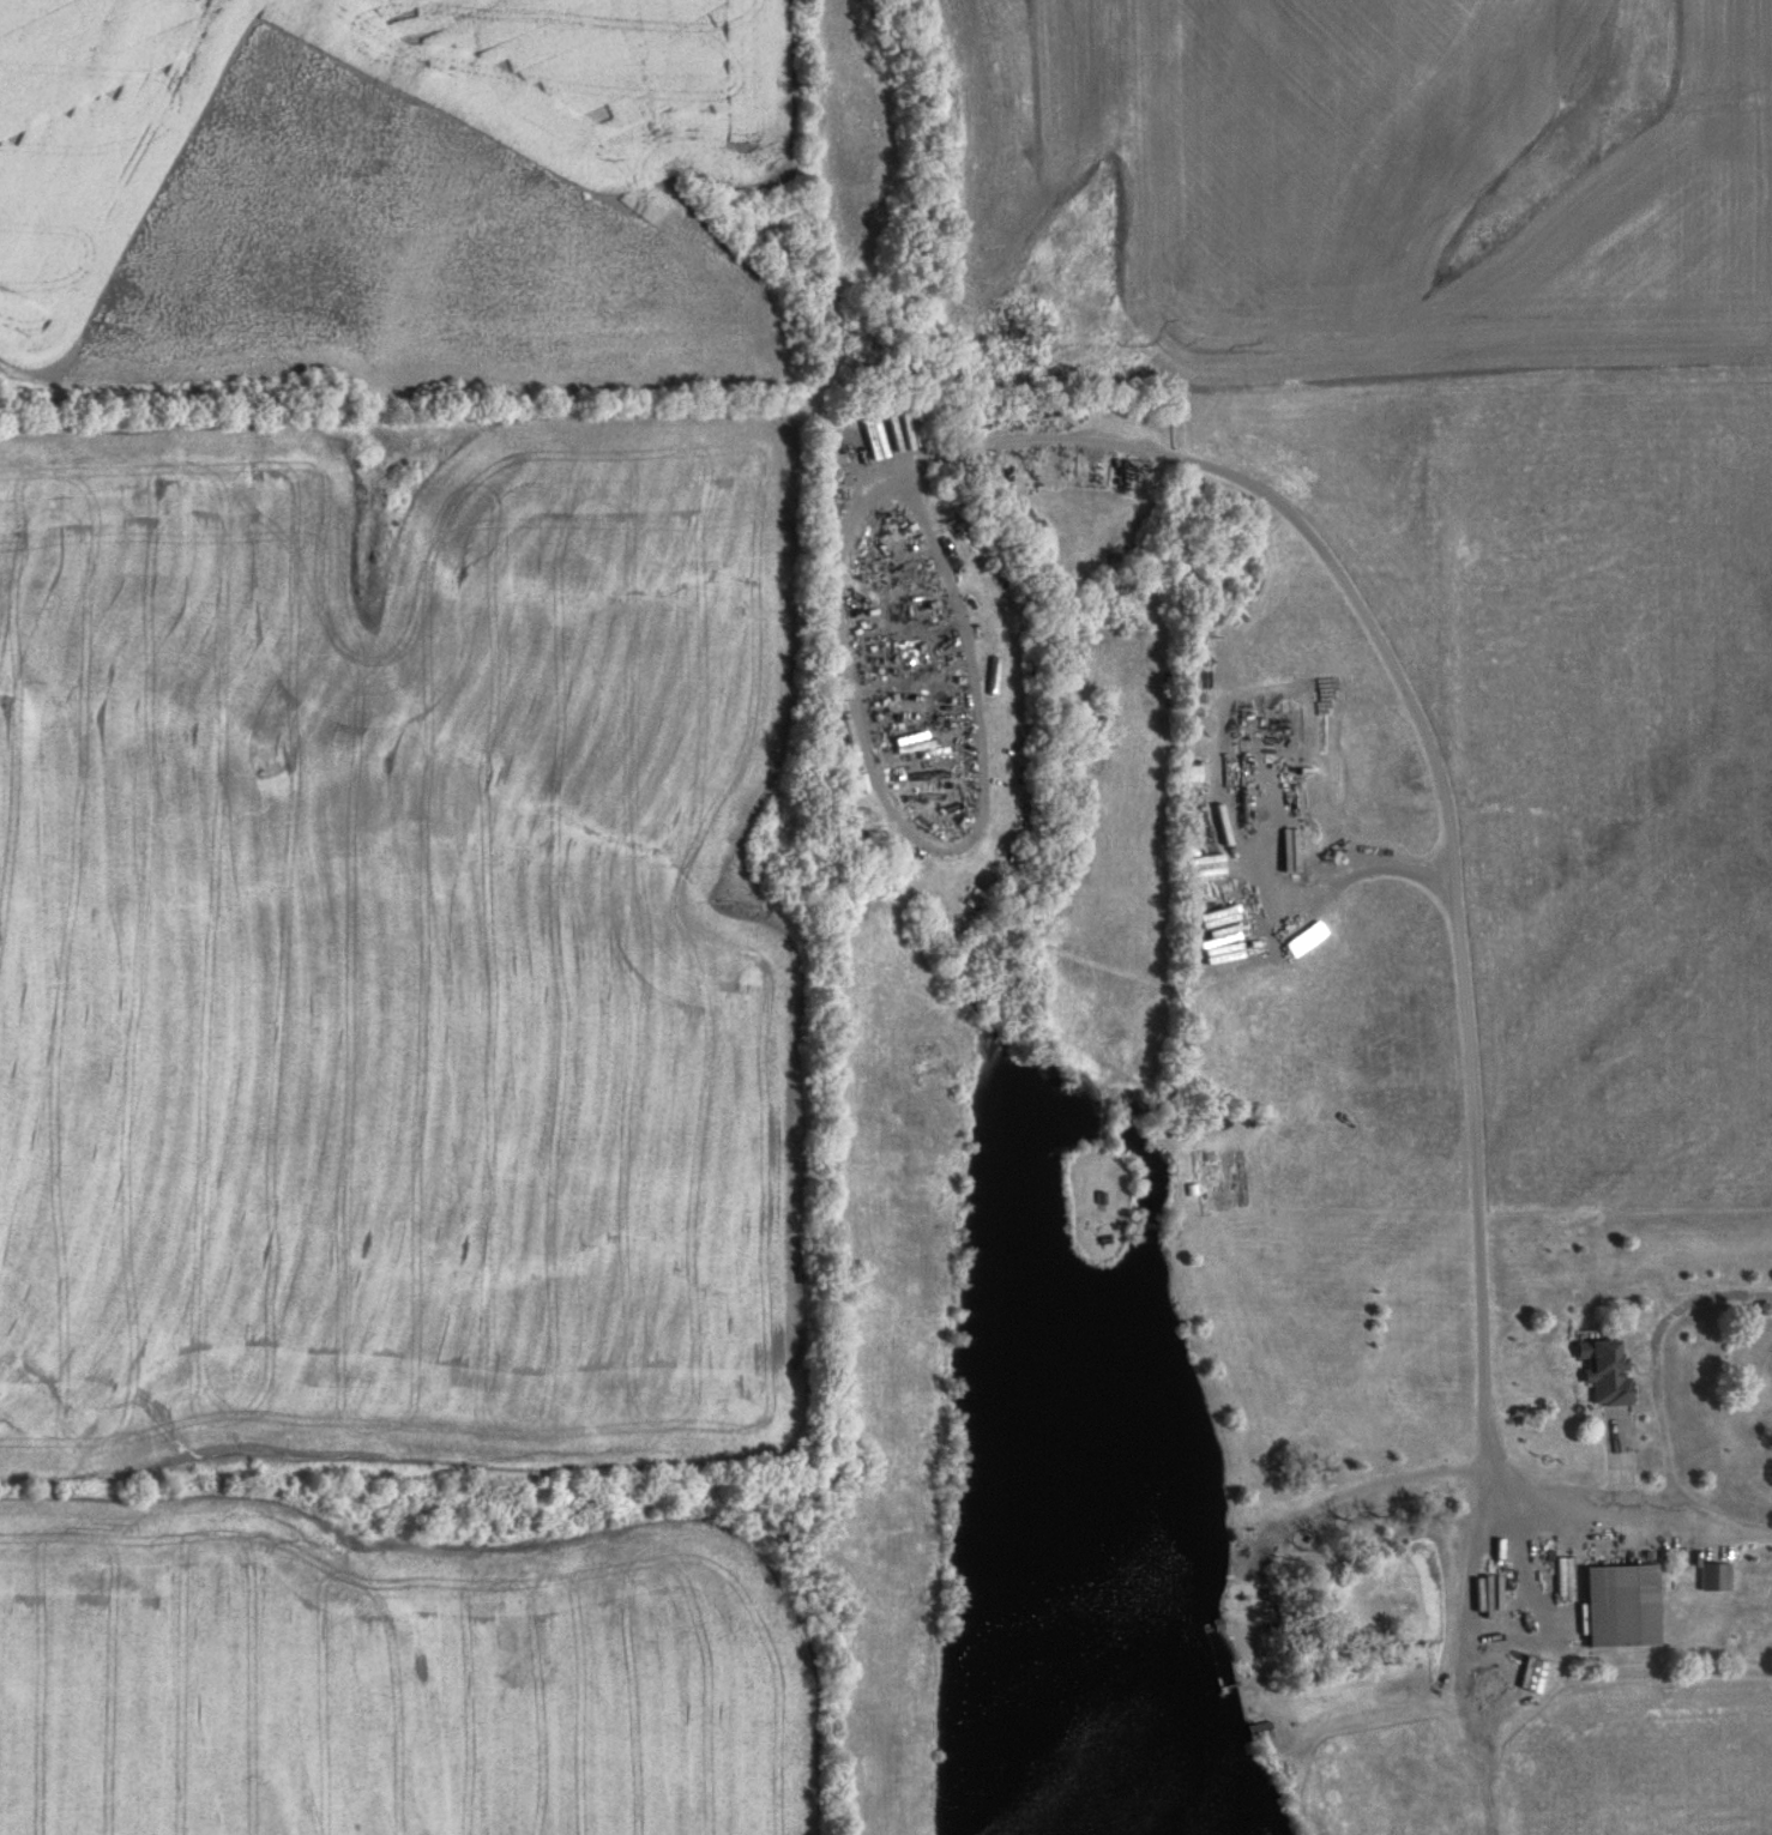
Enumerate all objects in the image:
building: (1602, 1370)
building: (1714, 1575)
building: (1617, 1604)
building: (1259, 1730)

